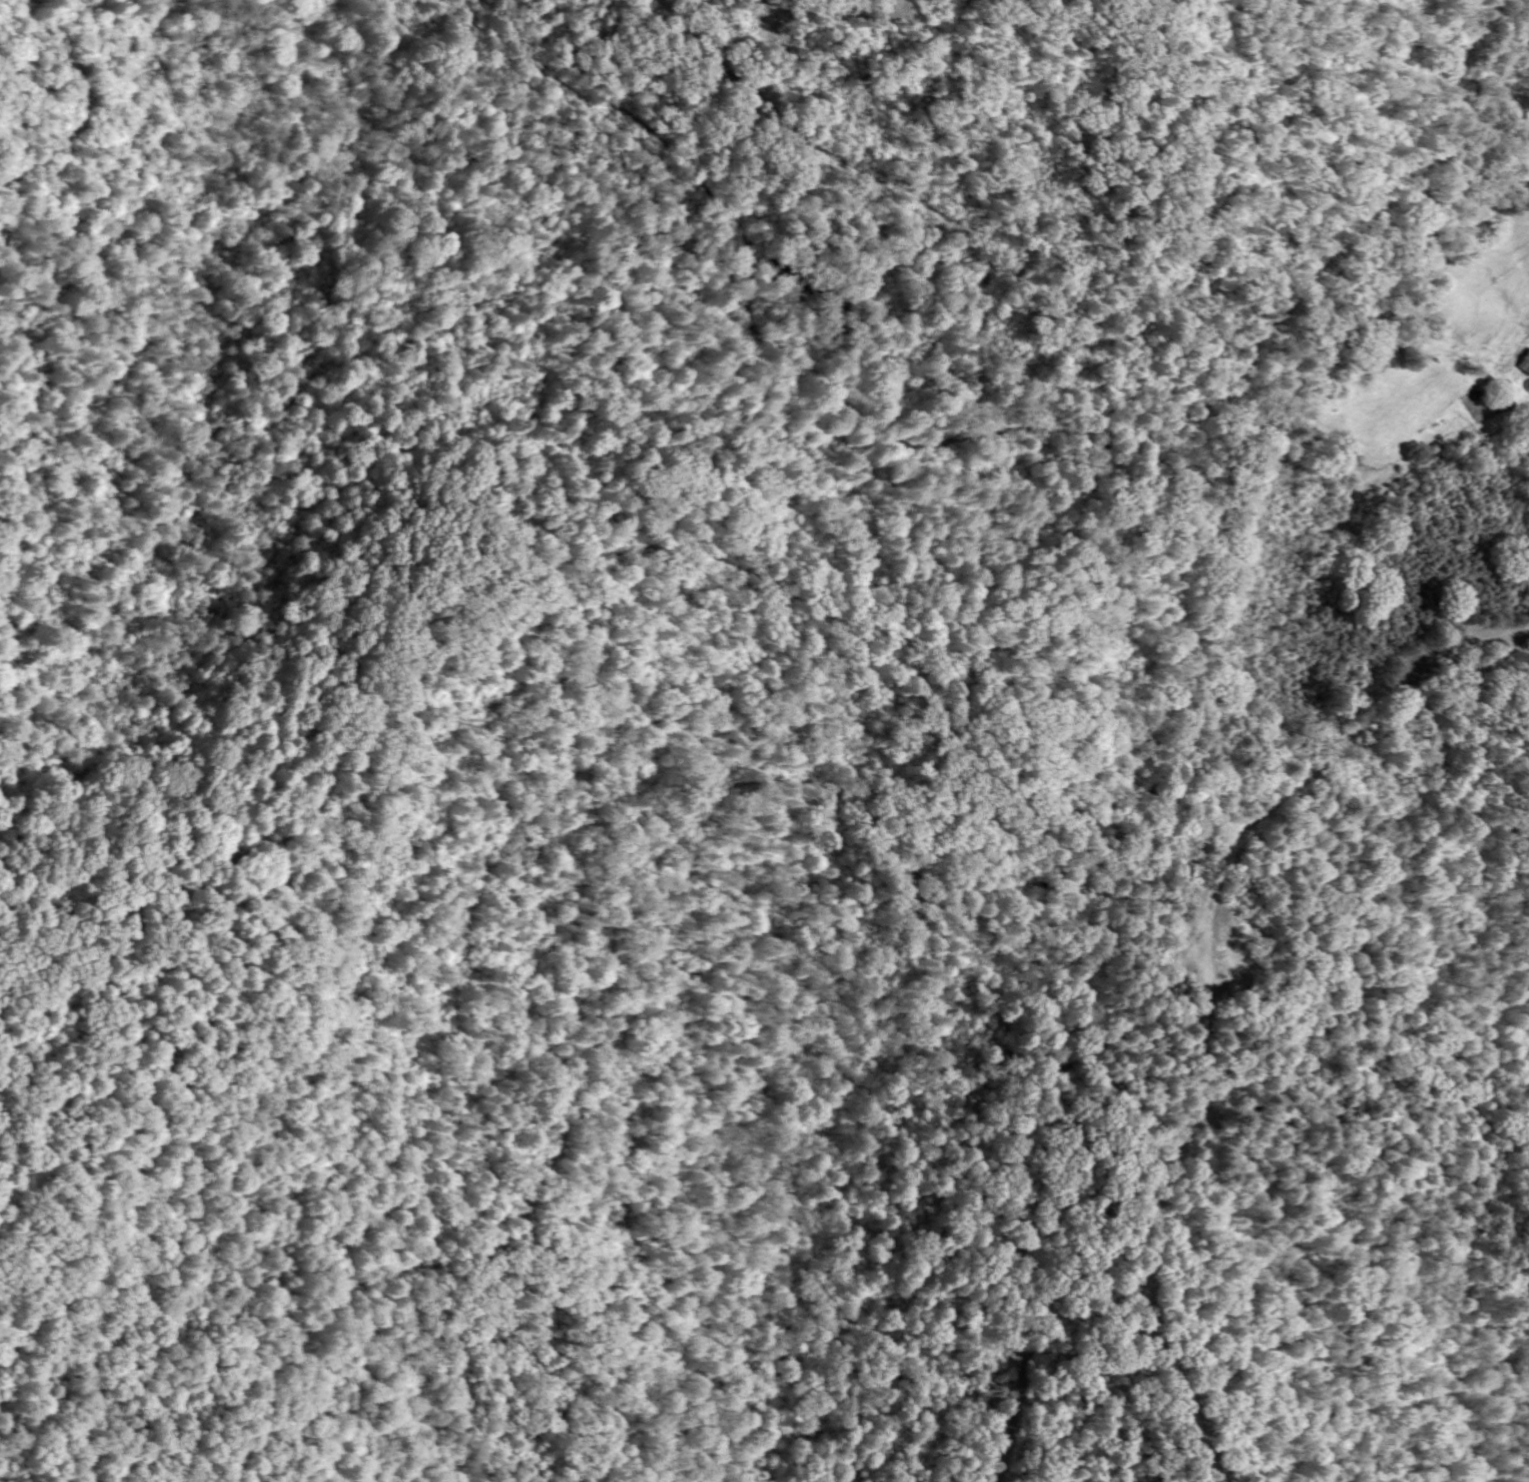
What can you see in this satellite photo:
building: (1526, 365)

